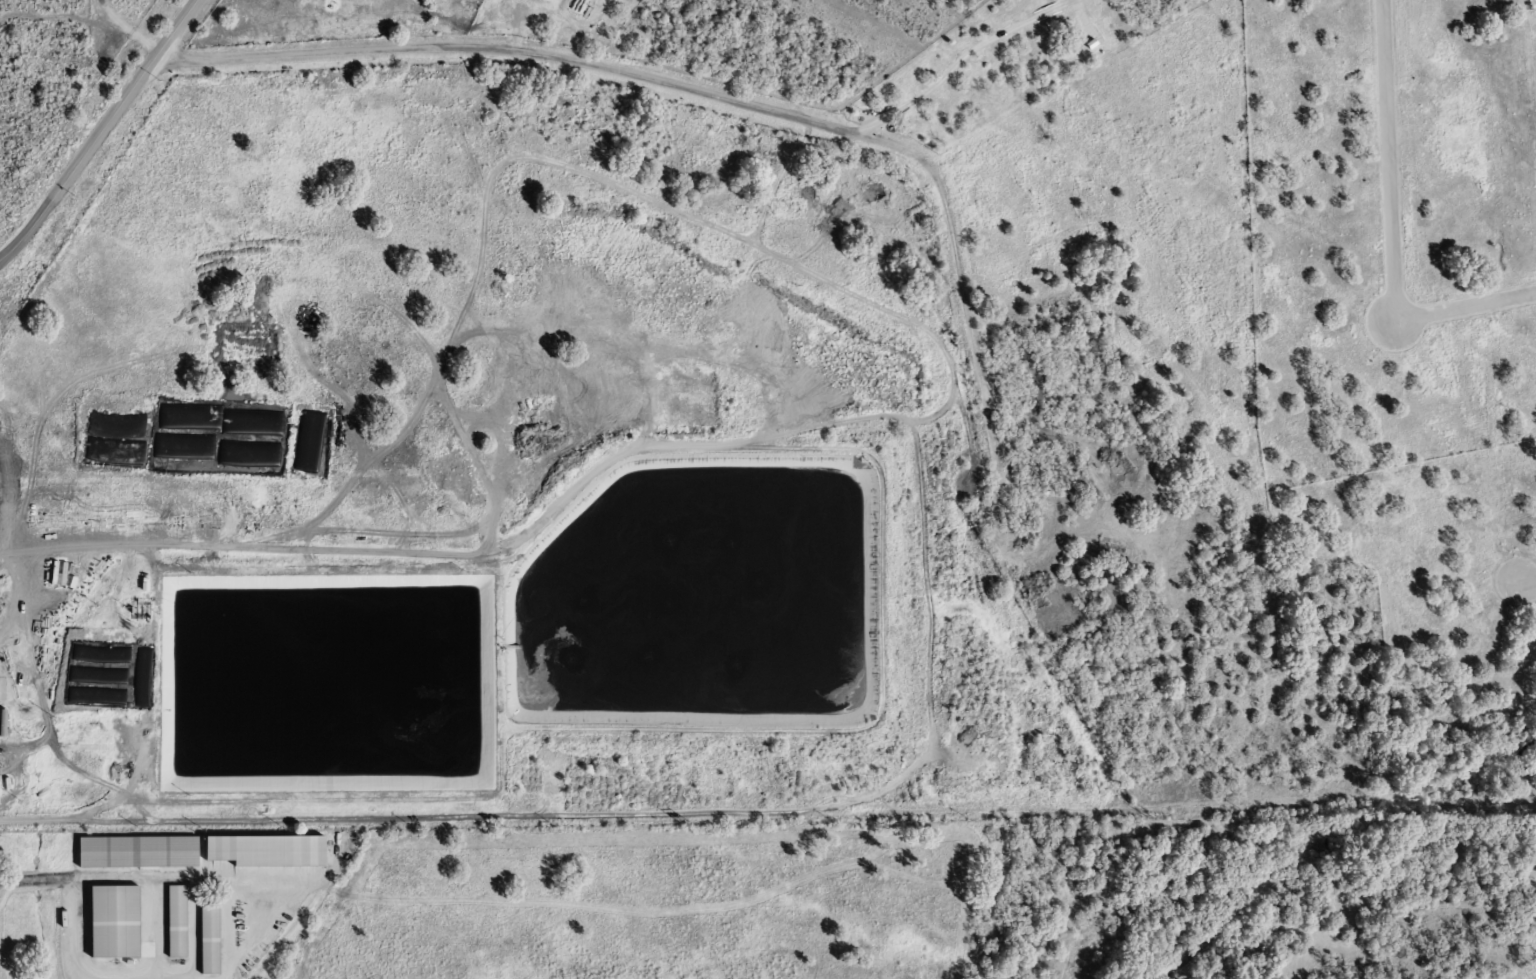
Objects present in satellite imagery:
road: (547, 56)
road: (101, 131)
road: (1386, 158)
road: (1465, 303)
road: (652, 402)
wastewater plant: (501, 476)
road: (338, 551)
road: (1528, 582)
road: (716, 732)
road: (135, 772)
building: (110, 921)
building: (173, 921)
building: (206, 938)

